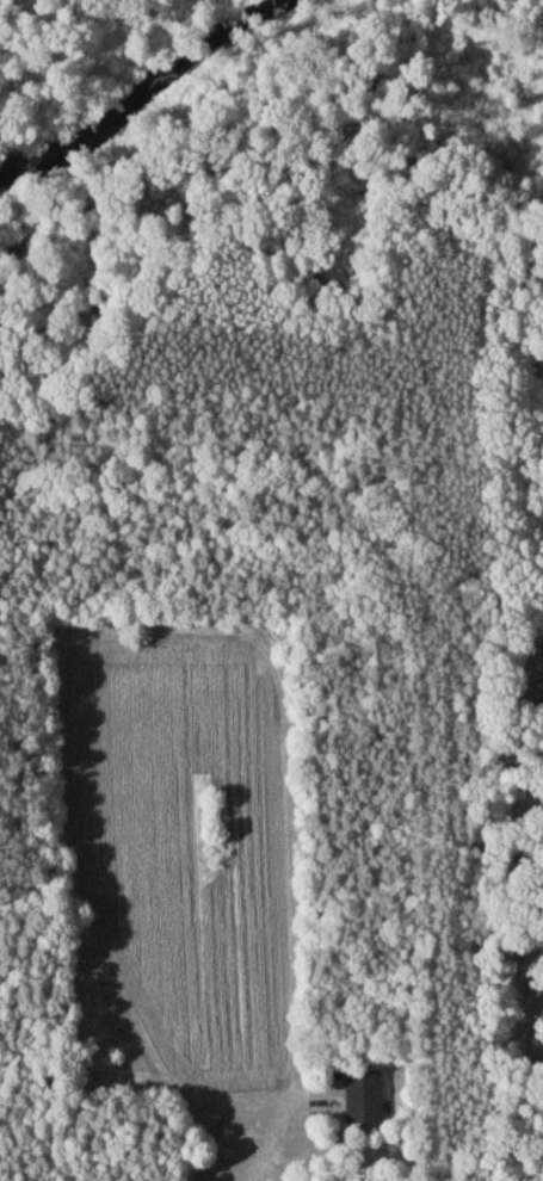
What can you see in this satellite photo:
building: (366, 1101)

